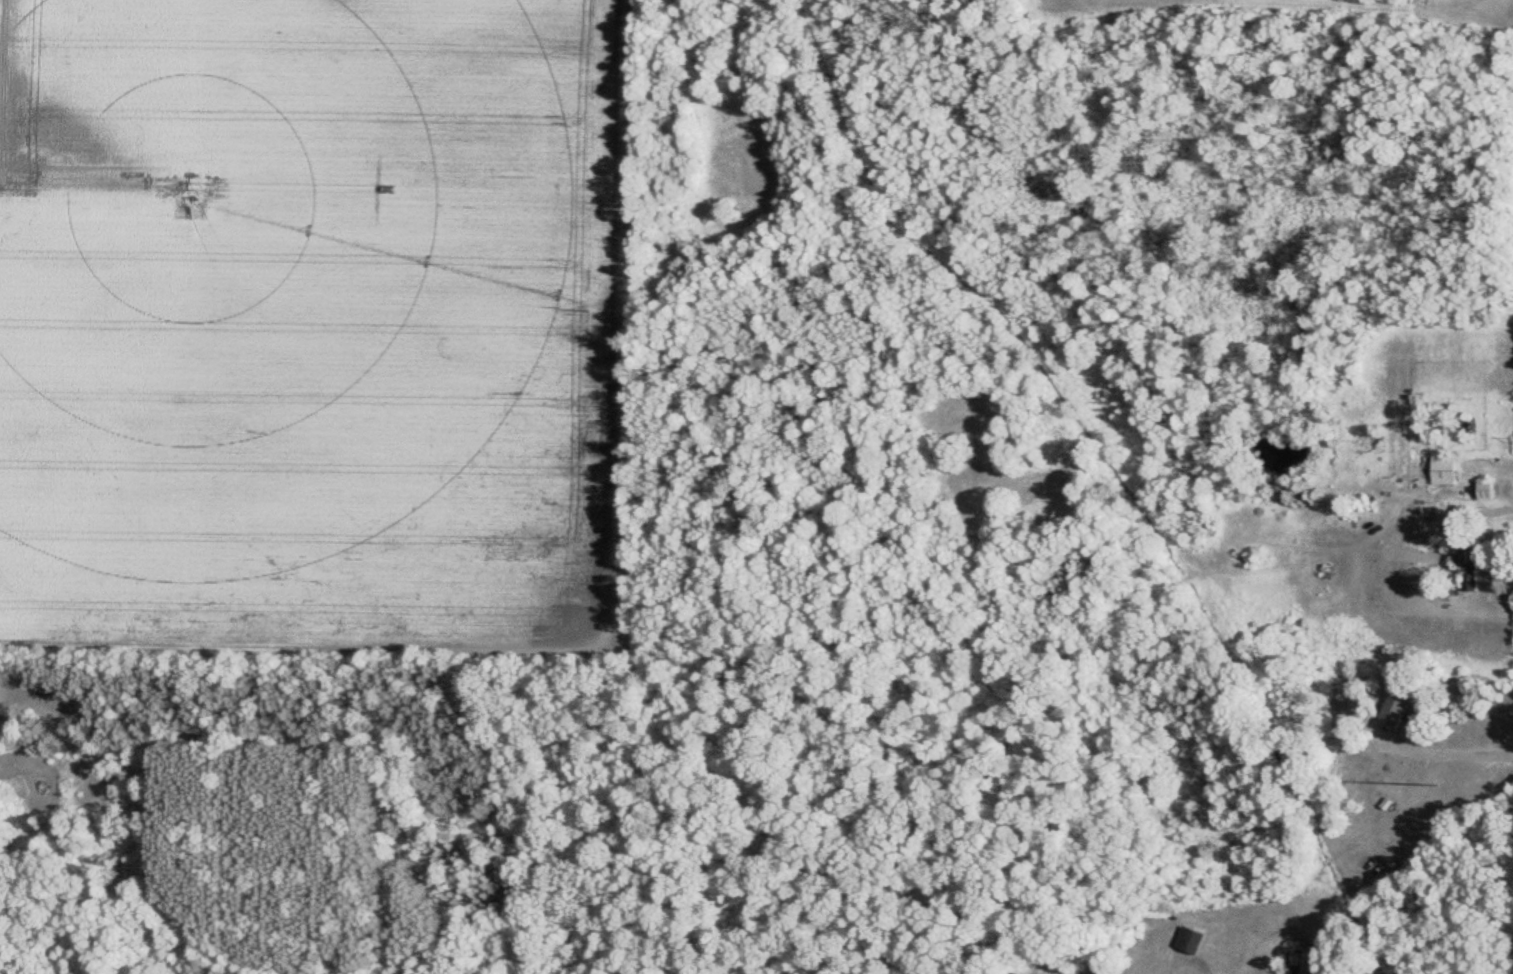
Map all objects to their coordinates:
crop: (311, 313)
building: (1440, 469)
building: (1481, 491)
road: (1485, 508)
building: (1465, 571)
building: (1392, 713)
road: (1447, 750)
building: (1187, 942)

